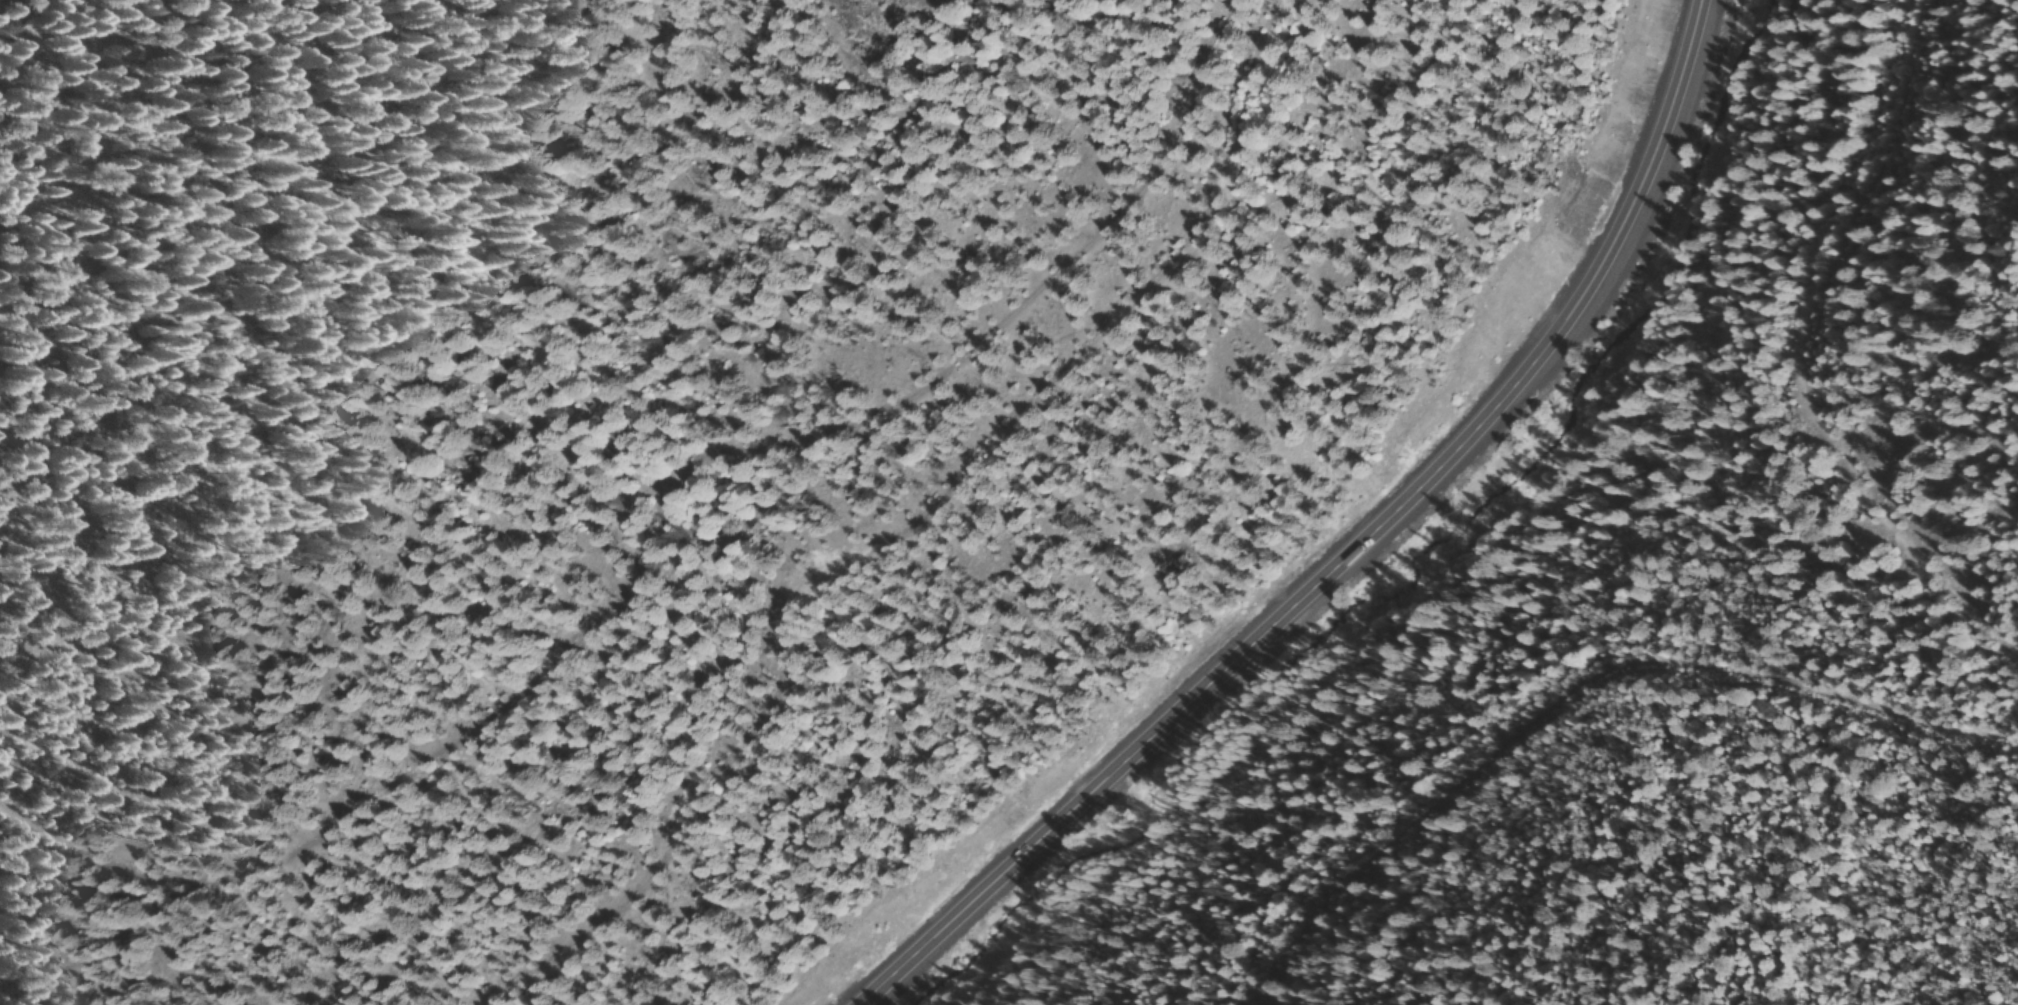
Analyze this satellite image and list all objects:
road: (509, 316)
road: (1796, 371)
road: (831, 506)
road: (1369, 552)
road: (1582, 687)

